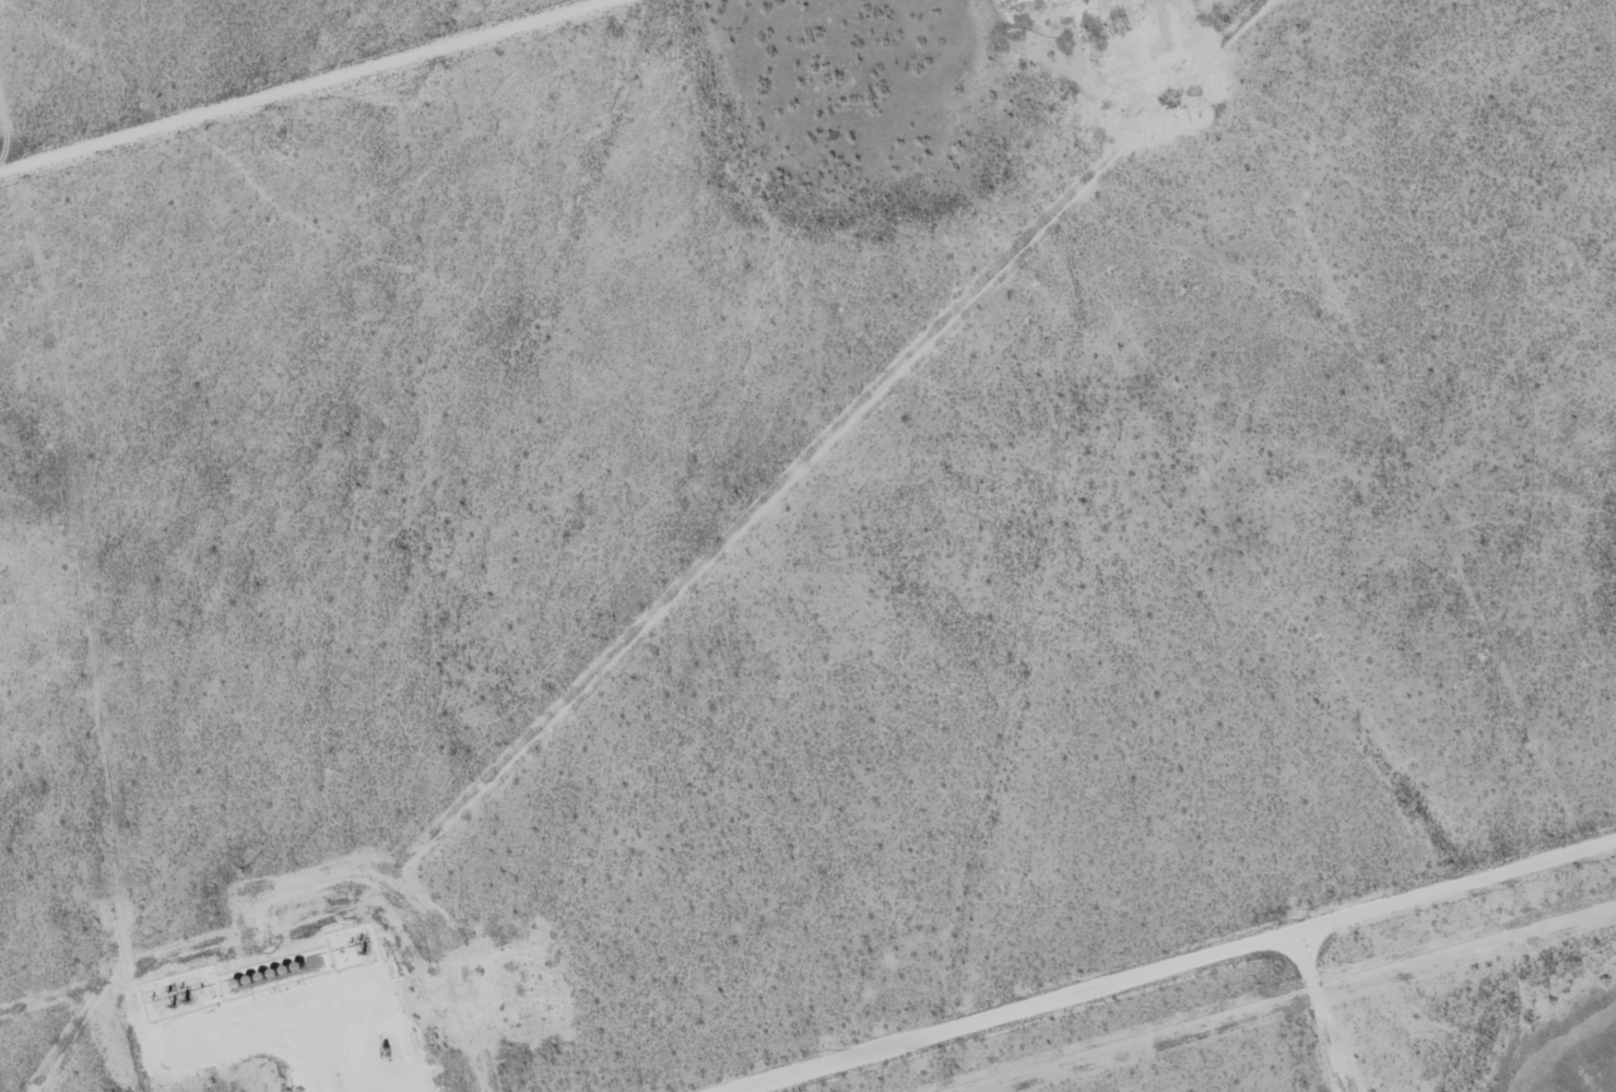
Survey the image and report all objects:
petroleum well: (388, 1052)

